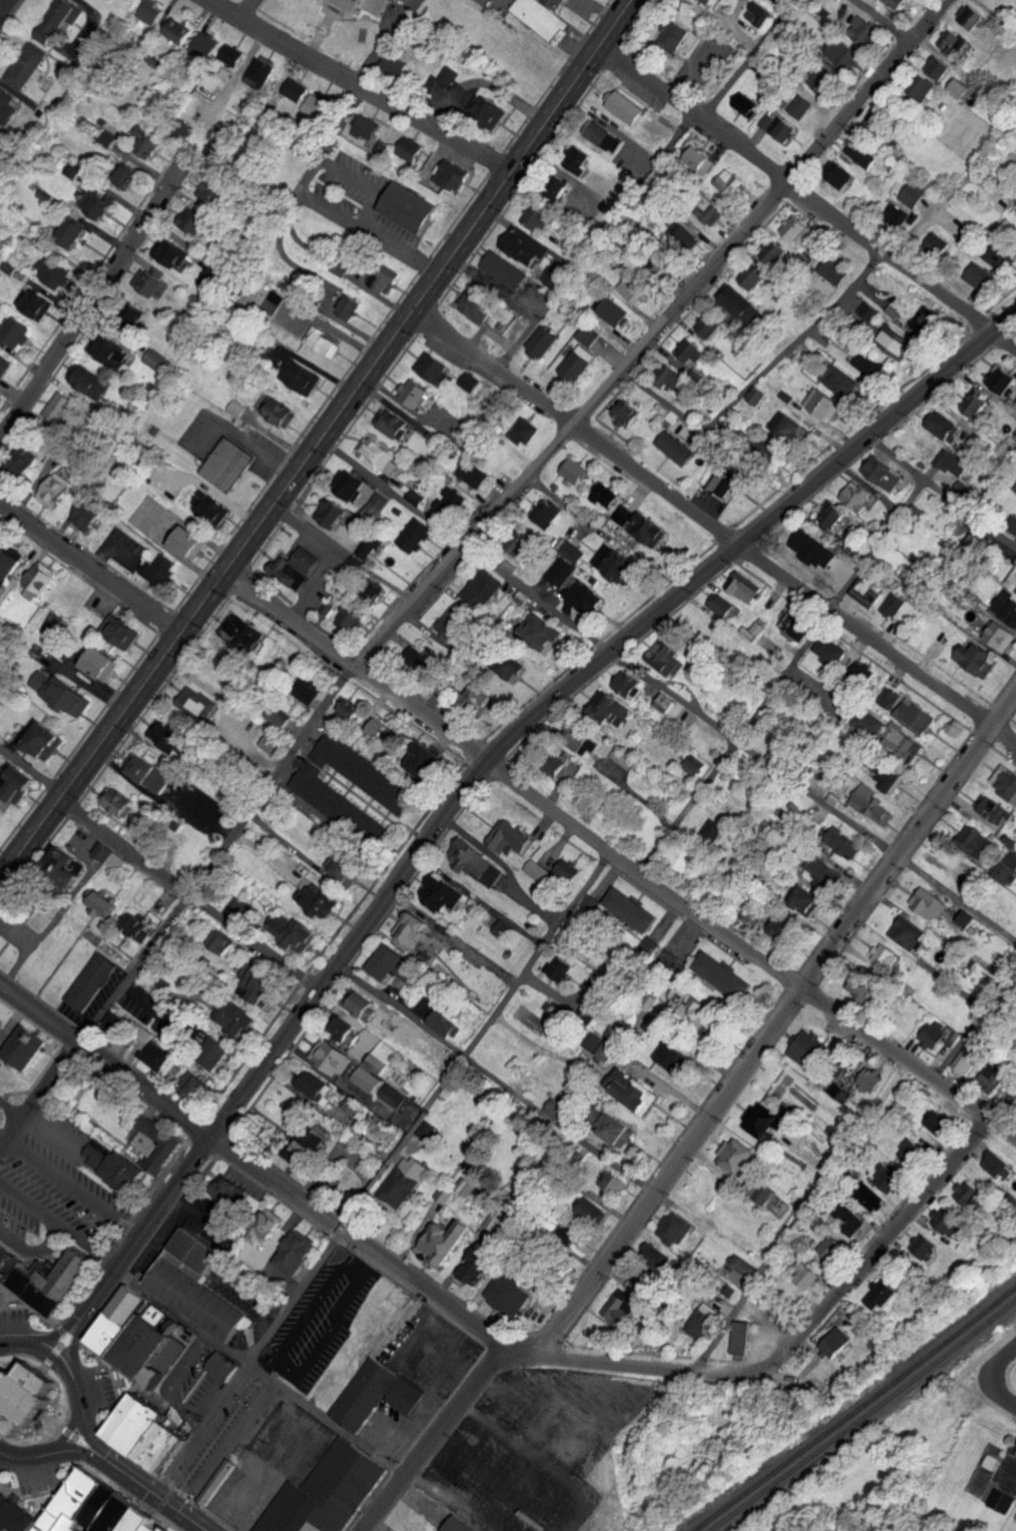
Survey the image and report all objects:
building: (713, 2)
road: (2, 3)
building: (898, 3)
building: (370, 5)
road: (242, 9)
building: (148, 11)
building: (760, 12)
building: (833, 13)
building: (970, 14)
building: (543, 16)
building: (60, 19)
road: (884, 20)
building: (865, 30)
building: (175, 33)
building: (674, 35)
building: (953, 41)
road: (383, 43)
building: (204, 45)
building: (845, 53)
building: (231, 55)
building: (391, 67)
building: (939, 67)
building: (24, 68)
building: (258, 73)
building: (449, 75)
building: (821, 80)
road: (356, 87)
building: (926, 87)
building: (962, 87)
building: (293, 91)
building: (746, 104)
building: (317, 106)
building: (6, 107)
building: (626, 107)
building: (486, 113)
building: (767, 121)
building: (873, 121)
road: (347, 123)
building: (363, 127)
building: (785, 130)
building: (606, 137)
building: (110, 138)
building: (145, 142)
building: (381, 147)
building: (411, 148)
building: (863, 154)
building: (578, 158)
building: (700, 160)
road: (327, 164)
building: (75, 170)
road: (310, 174)
building: (126, 175)
building: (449, 176)
building: (730, 182)
road: (644, 183)
building: (559, 187)
road: (798, 187)
building: (209, 189)
road: (372, 189)
road: (954, 190)
building: (914, 194)
building: (95, 204)
parking lot: (363, 204)
building: (408, 208)
building: (707, 211)
building: (901, 215)
building: (537, 216)
building: (196, 221)
building: (795, 227)
building: (73, 233)
road: (374, 233)
building: (685, 238)
building: (938, 243)
building: (524, 246)
building: (777, 250)
building: (177, 256)
building: (819, 260)
building: (656, 264)
building: (11, 266)
building: (505, 270)
building: (834, 271)
building: (53, 274)
building: (753, 276)
building: (982, 277)
building: (385, 279)
building: (151, 282)
building: (633, 289)
road: (92, 300)
building: (35, 304)
building: (273, 304)
building: (474, 304)
building: (744, 306)
building: (348, 308)
building: (871, 311)
building: (612, 312)
building: (922, 323)
building: (710, 325)
building: (14, 331)
building: (587, 335)
road: (655, 335)
road: (1007, 335)
building: (323, 342)
building: (541, 342)
building: (897, 344)
building: (691, 352)
building: (112, 353)
building: (152, 360)
building: (577, 363)
building: (869, 363)
building: (3, 365)
building: (434, 368)
road: (760, 375)
building: (302, 377)
building: (671, 377)
building: (1002, 379)
building: (88, 380)
building: (841, 381)
building: (469, 382)
building: (413, 393)
building: (759, 395)
building: (688, 397)
building: (824, 404)
building: (977, 404)
building: (58, 408)
building: (236, 408)
building: (279, 413)
building: (627, 413)
building: (394, 424)
road: (577, 425)
building: (789, 427)
building: (524, 431)
road: (316, 440)
building: (677, 447)
building: (378, 457)
building: (21, 461)
building: (227, 464)
building: (576, 472)
building: (883, 473)
building: (473, 474)
building: (729, 484)
building: (350, 485)
building: (54, 490)
building: (607, 495)
building: (857, 495)
building: (416, 497)
building: (450, 501)
building: (377, 503)
building: (210, 508)
building: (547, 512)
building: (86, 514)
building: (332, 514)
building: (625, 514)
road: (970, 514)
building: (834, 516)
building: (649, 530)
building: (415, 535)
building: (188, 543)
building: (519, 544)
building: (367, 547)
building: (813, 549)
building: (573, 552)
building: (617, 562)
building: (10, 563)
building: (295, 567)
road: (89, 570)
building: (162, 570)
building: (560, 570)
building: (40, 578)
building: (1012, 579)
building: (483, 587)
building: (744, 587)
building: (866, 590)
building: (581, 595)
building: (895, 605)
building: (722, 606)
building: (1007, 606)
building: (353, 615)
building: (451, 622)
building: (758, 626)
building: (795, 626)
building: (247, 631)
building: (120, 633)
building: (539, 633)
building: (1000, 635)
road: (878, 644)
building: (829, 649)
building: (664, 658)
building: (419, 659)
building: (977, 660)
building: (100, 663)
road: (356, 663)
building: (508, 670)
building: (864, 673)
road: (782, 678)
building: (628, 685)
building: (309, 689)
road: (665, 693)
building: (65, 696)
building: (478, 698)
building: (195, 701)
building: (666, 703)
building: (609, 708)
building: (351, 709)
building: (907, 710)
building: (279, 717)
building: (873, 723)
building: (379, 729)
building: (169, 737)
road: (506, 737)
building: (587, 739)
building: (44, 741)
building: (903, 742)
building: (270, 743)
building: (622, 758)
building: (426, 760)
building: (695, 767)
building: (562, 770)
road: (31, 773)
building: (150, 774)
building: (885, 775)
building: (1005, 781)
building: (377, 782)
building: (14, 784)
building: (118, 802)
building: (872, 805)
building: (994, 810)
building: (0, 828)
building: (714, 829)
building: (1, 830)
building: (511, 838)
building: (972, 839)
building: (843, 843)
building: (102, 850)
building: (114, 860)
building: (477, 863)
building: (65, 867)
building: (1007, 868)
building: (347, 870)
building: (538, 871)
building: (570, 871)
building: (442, 894)
road: (186, 896)
building: (806, 897)
building: (320, 901)
building: (103, 904)
building: (928, 905)
road: (65, 906)
road: (182, 909)
building: (237, 909)
building: (633, 910)
building: (968, 919)
building: (138, 925)
building: (412, 930)
building: (504, 930)
building: (293, 932)
building: (908, 935)
road: (455, 937)
building: (222, 944)
road: (749, 951)
building: (425, 957)
building: (885, 957)
building: (395, 966)
building: (561, 969)
building: (246, 971)
building: (724, 976)
building: (92, 984)
building: (868, 986)
building: (262, 988)
road: (975, 989)
building: (362, 1006)
building: (700, 1012)
building: (592, 1014)
building: (237, 1021)
building: (444, 1025)
building: (2, 1027)
building: (127, 1029)
building: (346, 1031)
building: (936, 1035)
building: (600, 1047)
building: (810, 1050)
building: (28, 1054)
building: (157, 1054)
building: (216, 1054)
building: (330, 1056)
building: (382, 1058)
building: (674, 1058)
road: (107, 1060)
building: (968, 1060)
building: (844, 1065)
road: (496, 1077)
building: (366, 1079)
building: (998, 1079)
building: (872, 1081)
building: (192, 1088)
building: (316, 1088)
road: (668, 1089)
building: (633, 1092)
building: (393, 1097)
building: (779, 1099)
building: (352, 1106)
road: (12, 1109)
building: (561, 1111)
building: (289, 1113)
building: (763, 1122)
building: (940, 1125)
road: (704, 1127)
building: (615, 1130)
building: (156, 1147)
building: (307, 1149)
building: (738, 1157)
building: (997, 1164)
building: (115, 1173)
road: (372, 1178)
building: (891, 1179)
building: (404, 1183)
building: (616, 1183)
road: (75, 1190)
building: (229, 1190)
building: (972, 1194)
parking lot: (51, 1195)
building: (872, 1197)
building: (588, 1213)
road: (800, 1217)
building: (856, 1220)
building: (949, 1220)
road: (60, 1226)
building: (267, 1227)
building: (675, 1229)
building: (571, 1233)
building: (442, 1241)
building: (926, 1247)
building: (834, 1248)
road: (870, 1250)
building: (296, 1251)
road: (34, 1252)
building: (657, 1261)
building: (478, 1264)
building: (807, 1274)
building: (41, 1278)
building: (193, 1285)
building: (507, 1293)
building: (883, 1293)
road: (97, 1303)
road: (27, 1306)
building: (618, 1307)
building: (699, 1319)
parking lot: (323, 1322)
building: (120, 1324)
road: (58, 1332)
building: (739, 1336)
road: (55, 1337)
road: (500, 1339)
road: (71, 1341)
building: (835, 1345)
building: (147, 1346)
road: (1000, 1348)
road: (70, 1349)
road: (52, 1353)
road: (53, 1353)
building: (222, 1366)
road: (260, 1376)
road: (116, 1384)
road: (990, 1391)
building: (376, 1392)
building: (25, 1395)
railway: (853, 1409)
railway: (861, 1413)
road: (84, 1426)
road: (64, 1430)
building: (144, 1431)
road: (67, 1432)
road: (88, 1437)
building: (1015, 1449)
road: (66, 1451)
road: (80, 1452)
road: (1, 1454)
road: (20, 1454)
road: (148, 1491)
building: (325, 1492)
building: (1002, 1500)
road: (45, 1508)
building: (85, 1511)
building: (458, 1525)
road: (858, 1530)

